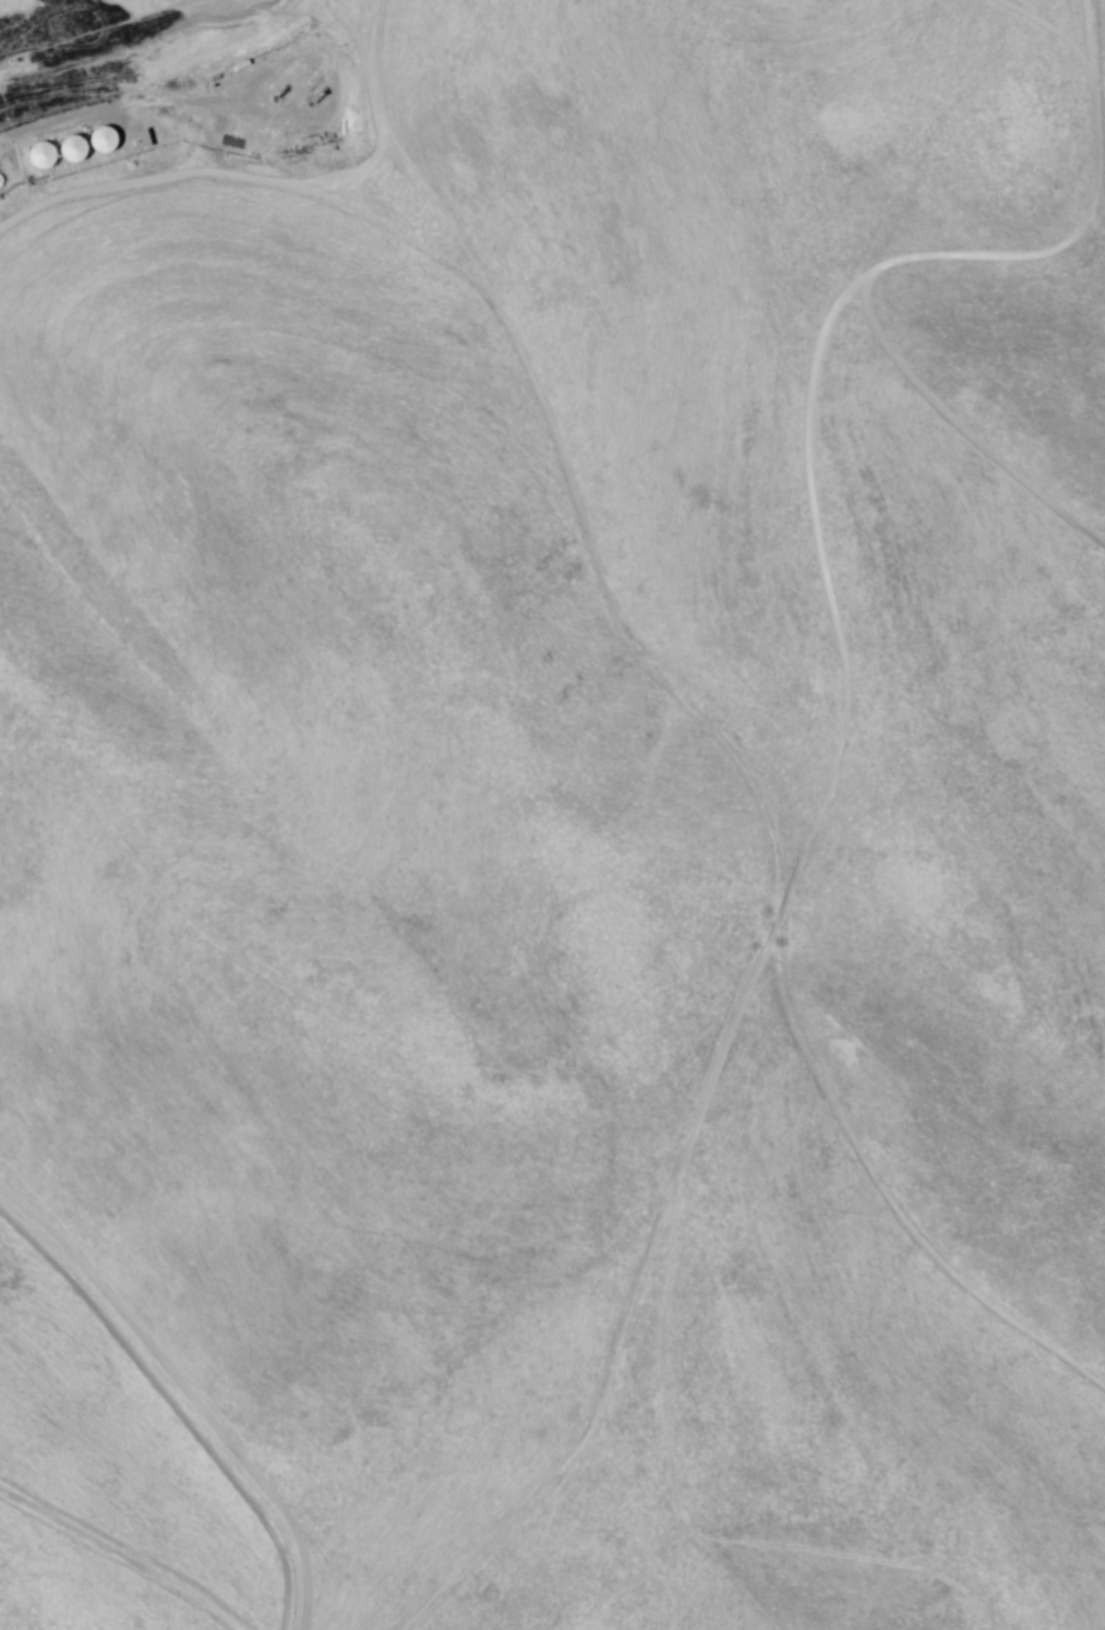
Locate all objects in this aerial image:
road: (151, 122)
building: (131, 136)
road: (146, 1466)

